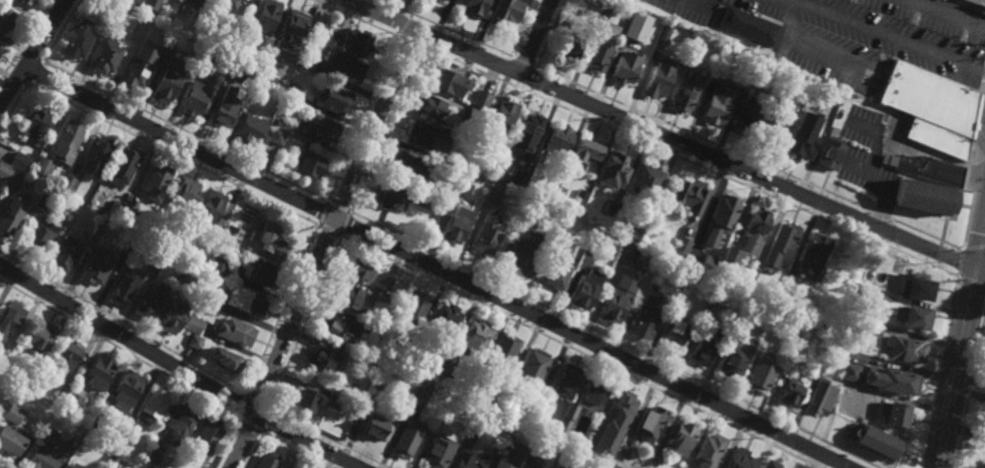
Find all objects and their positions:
building: (445, 0)
building: (21, 1)
building: (975, 1)
building: (198, 3)
building: (100, 4)
building: (133, 4)
building: (150, 4)
building: (225, 4)
building: (588, 4)
road: (704, 5)
road: (969, 5)
building: (472, 6)
building: (108, 11)
building: (504, 11)
building: (602, 11)
road: (950, 13)
building: (263, 15)
building: (5, 18)
road: (353, 18)
road: (402, 24)
building: (637, 25)
building: (748, 25)
building: (317, 29)
road: (446, 29)
road: (61, 30)
building: (135, 32)
building: (288, 33)
road: (550, 33)
road: (426, 34)
road: (887, 35)
building: (76, 37)
road: (536, 37)
parking lot: (857, 38)
building: (684, 39)
road: (24, 40)
building: (351, 41)
road: (408, 41)
building: (566, 44)
building: (0, 47)
building: (236, 47)
building: (601, 47)
road: (896, 50)
road: (819, 51)
road: (32, 52)
building: (690, 53)
building: (165, 54)
building: (727, 54)
road: (31, 55)
building: (104, 55)
building: (304, 59)
building: (203, 60)
road: (525, 63)
building: (648, 65)
building: (344, 66)
building: (626, 66)
building: (135, 69)
road: (885, 69)
road: (34, 72)
building: (222, 72)
road: (16, 77)
road: (935, 78)
road: (984, 78)
building: (445, 79)
building: (659, 79)
building: (163, 82)
building: (289, 90)
building: (686, 91)
building: (191, 96)
building: (331, 96)
building: (799, 99)
building: (926, 99)
building: (481, 102)
building: (718, 103)
building: (222, 104)
building: (428, 105)
road: (13, 106)
building: (500, 113)
building: (471, 114)
road: (362, 118)
building: (746, 118)
building: (270, 120)
building: (33, 121)
building: (281, 123)
building: (248, 127)
building: (322, 127)
road: (972, 127)
road: (386, 129)
building: (771, 129)
road: (185, 130)
building: (524, 134)
building: (275, 135)
building: (423, 135)
road: (661, 135)
building: (67, 136)
building: (557, 138)
road: (704, 138)
building: (936, 139)
building: (800, 140)
building: (477, 141)
building: (585, 150)
building: (829, 152)
building: (95, 153)
road: (968, 154)
road: (171, 155)
building: (19, 160)
building: (889, 160)
road: (689, 161)
building: (308, 162)
building: (453, 162)
building: (120, 164)
building: (404, 165)
building: (42, 166)
building: (927, 168)
building: (614, 169)
road: (968, 170)
building: (4, 172)
building: (518, 177)
building: (556, 179)
building: (14, 180)
building: (153, 180)
building: (646, 181)
building: (66, 183)
building: (438, 188)
building: (461, 188)
building: (560, 192)
building: (182, 193)
building: (690, 195)
building: (921, 195)
building: (388, 196)
building: (490, 197)
building: (579, 197)
building: (41, 201)
building: (429, 203)
building: (207, 206)
road: (340, 206)
building: (113, 209)
road: (321, 213)
road: (879, 214)
building: (11, 215)
building: (127, 216)
building: (721, 218)
building: (69, 219)
building: (452, 223)
road: (345, 225)
building: (637, 226)
building: (752, 229)
building: (96, 230)
road: (327, 231)
building: (230, 234)
building: (485, 234)
road: (925, 234)
building: (38, 236)
building: (270, 239)
building: (781, 240)
building: (209, 242)
building: (127, 243)
building: (595, 244)
building: (682, 245)
road: (321, 248)
road: (974, 249)
road: (981, 250)
building: (65, 252)
building: (629, 253)
building: (811, 255)
building: (522, 256)
building: (157, 257)
building: (728, 257)
building: (621, 259)
road: (959, 263)
building: (217, 265)
building: (708, 265)
building: (94, 266)
building: (357, 268)
road: (436, 268)
building: (558, 269)
traffic signals: (978, 269)
road: (981, 269)
building: (260, 271)
building: (650, 271)
building: (742, 272)
building: (753, 274)
building: (381, 281)
road: (971, 281)
building: (681, 284)
building: (916, 286)
building: (121, 288)
building: (584, 289)
building: (784, 290)
building: (201, 296)
building: (380, 296)
building: (348, 297)
building: (241, 300)
building: (146, 302)
building: (412, 306)
building: (613, 306)
road: (280, 310)
building: (647, 314)
building: (703, 315)
building: (170, 316)
building: (914, 317)
building: (10, 318)
building: (443, 319)
building: (854, 321)
building: (817, 322)
road: (121, 323)
road: (303, 323)
building: (192, 324)
building: (740, 324)
building: (337, 326)
building: (234, 331)
building: (674, 331)
building: (757, 331)
building: (473, 335)
building: (40, 337)
road: (614, 340)
building: (193, 341)
building: (704, 346)
building: (904, 349)
road: (120, 351)
building: (501, 351)
road: (572, 351)
building: (67, 353)
building: (824, 355)
building: (850, 356)
building: (320, 358)
building: (223, 359)
building: (1, 362)
building: (361, 362)
building: (731, 363)
building: (532, 366)
building: (443, 367)
road: (179, 368)
road: (958, 368)
building: (850, 370)
building: (97, 372)
road: (938, 372)
building: (759, 375)
building: (848, 378)
building: (29, 379)
building: (564, 380)
building: (473, 381)
building: (896, 381)
building: (375, 384)
building: (427, 386)
building: (125, 389)
road: (969, 390)
building: (58, 391)
building: (788, 393)
building: (590, 396)
building: (417, 397)
building: (818, 397)
building: (507, 399)
road: (255, 400)
building: (71, 402)
building: (302, 402)
building: (331, 402)
building: (486, 403)
building: (152, 404)
road: (242, 407)
building: (534, 413)
building: (13, 414)
building: (891, 414)
road: (264, 421)
building: (99, 422)
building: (179, 422)
building: (650, 422)
building: (563, 423)
building: (613, 423)
road: (251, 427)
building: (473, 427)
building: (372, 429)
building: (681, 436)
road: (325, 438)
building: (11, 439)
building: (404, 439)
building: (502, 439)
building: (203, 440)
building: (872, 441)
road: (227, 444)
building: (42, 449)
building: (708, 449)
building: (536, 450)
road: (254, 451)
road: (295, 451)
building: (435, 451)
building: (621, 451)
building: (150, 455)
building: (111, 456)
building: (508, 456)
building: (737, 459)
building: (266, 460)
building: (654, 461)
building: (464, 462)
building: (768, 464)
building: (562, 465)
road: (809, 465)
building: (74, 466)
building: (292, 467)

